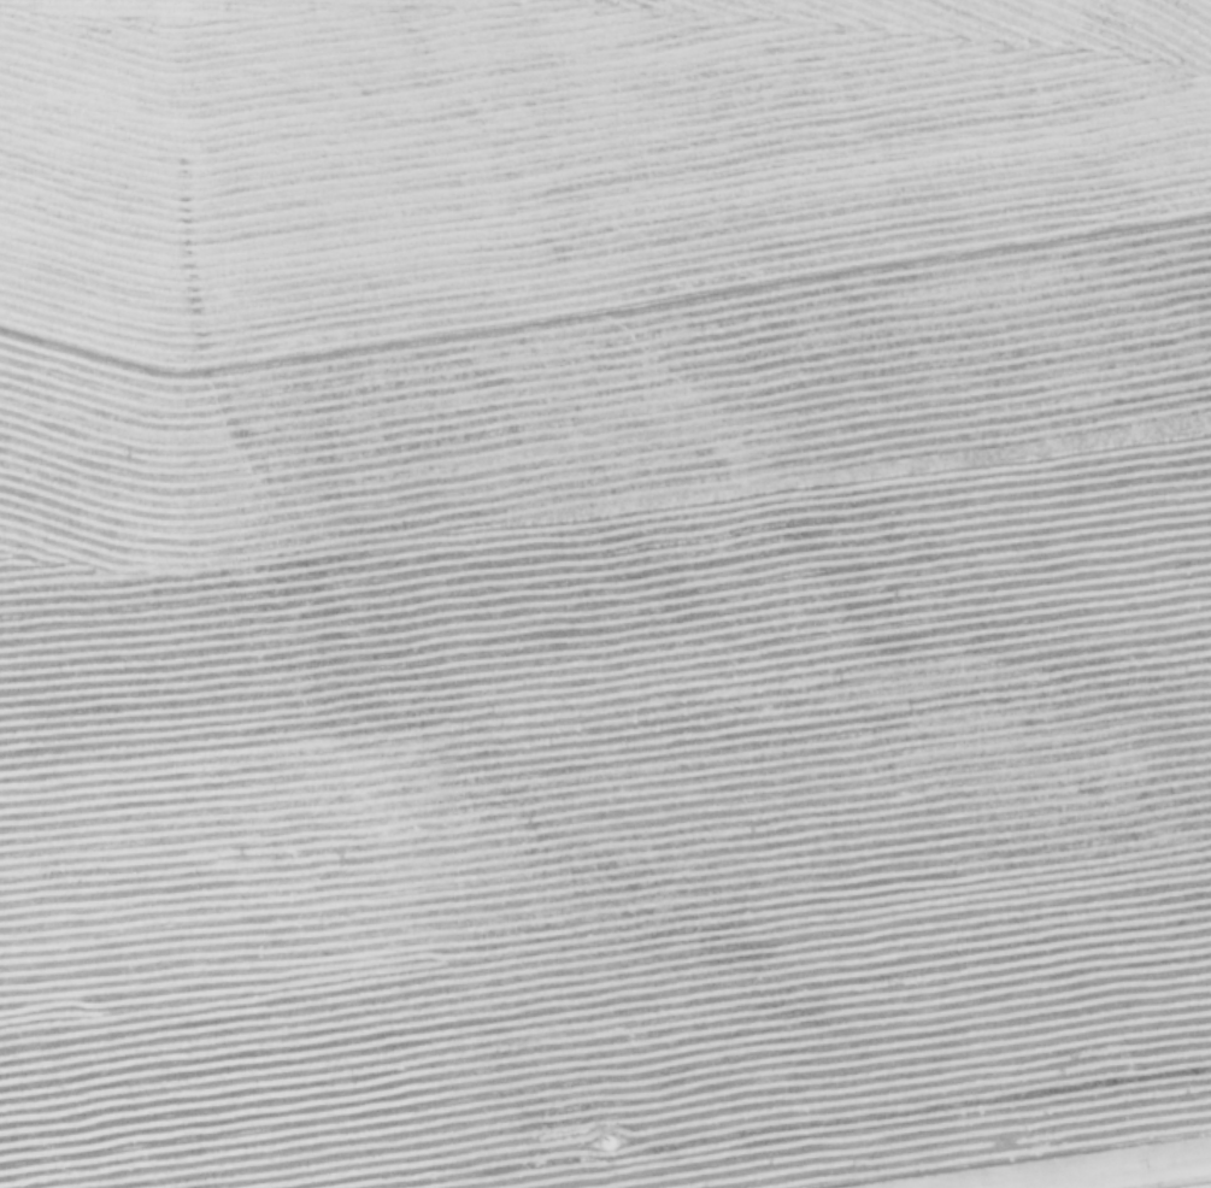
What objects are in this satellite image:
crop: (605, 594)
airport runway: (1107, 1172)

